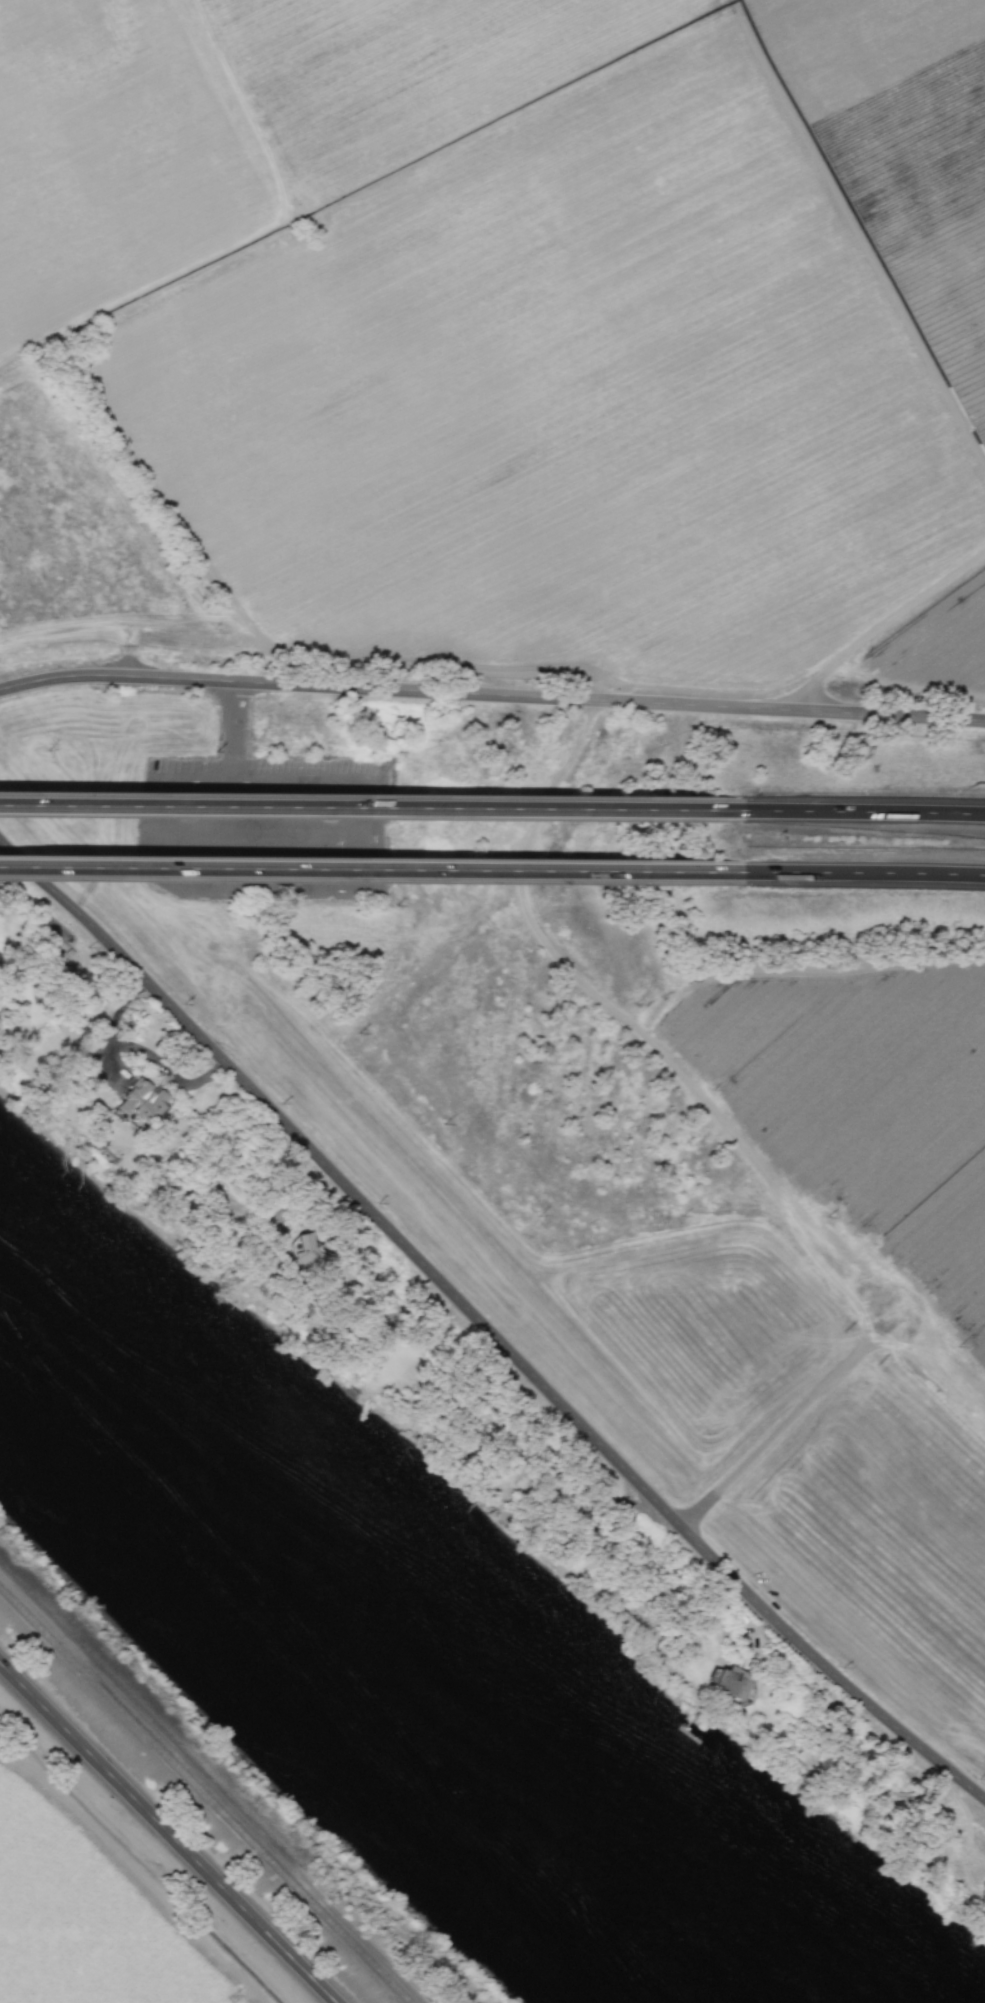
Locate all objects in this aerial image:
road: (877, 632)
road: (491, 695)
road: (234, 731)
road: (368, 808)
road: (861, 812)
road: (276, 835)
road: (372, 869)
road: (865, 873)
road: (319, 889)
building: (141, 1101)
building: (309, 1256)
road: (483, 1324)
river: (387, 1651)
building: (727, 1680)
railway: (205, 1796)
road: (165, 1834)
crop: (122, 1846)

